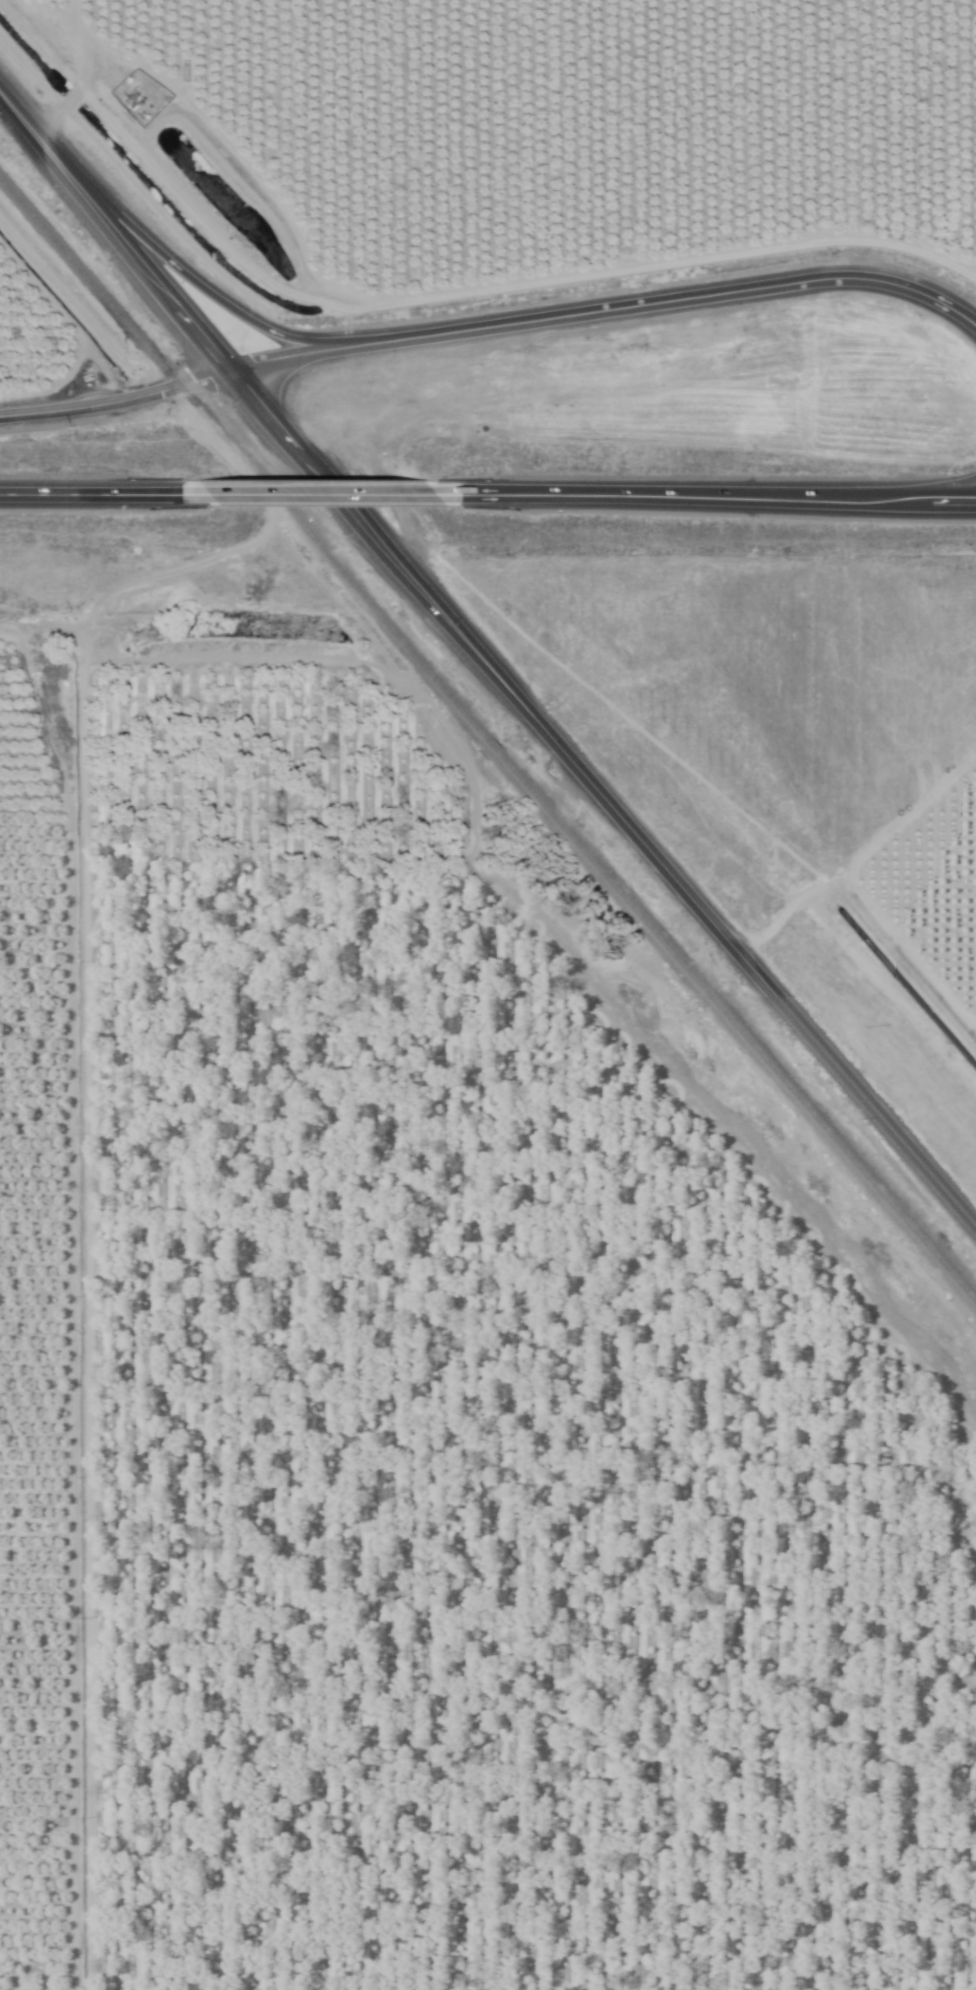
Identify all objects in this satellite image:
crop: (514, 151)
road: (115, 233)
road: (214, 294)
road: (607, 307)
road: (116, 403)
crop: (31, 417)
road: (938, 490)
road: (99, 491)
road: (331, 492)
road: (719, 496)
crop: (818, 729)
railway: (487, 742)
road: (603, 800)
crop: (421, 1421)

